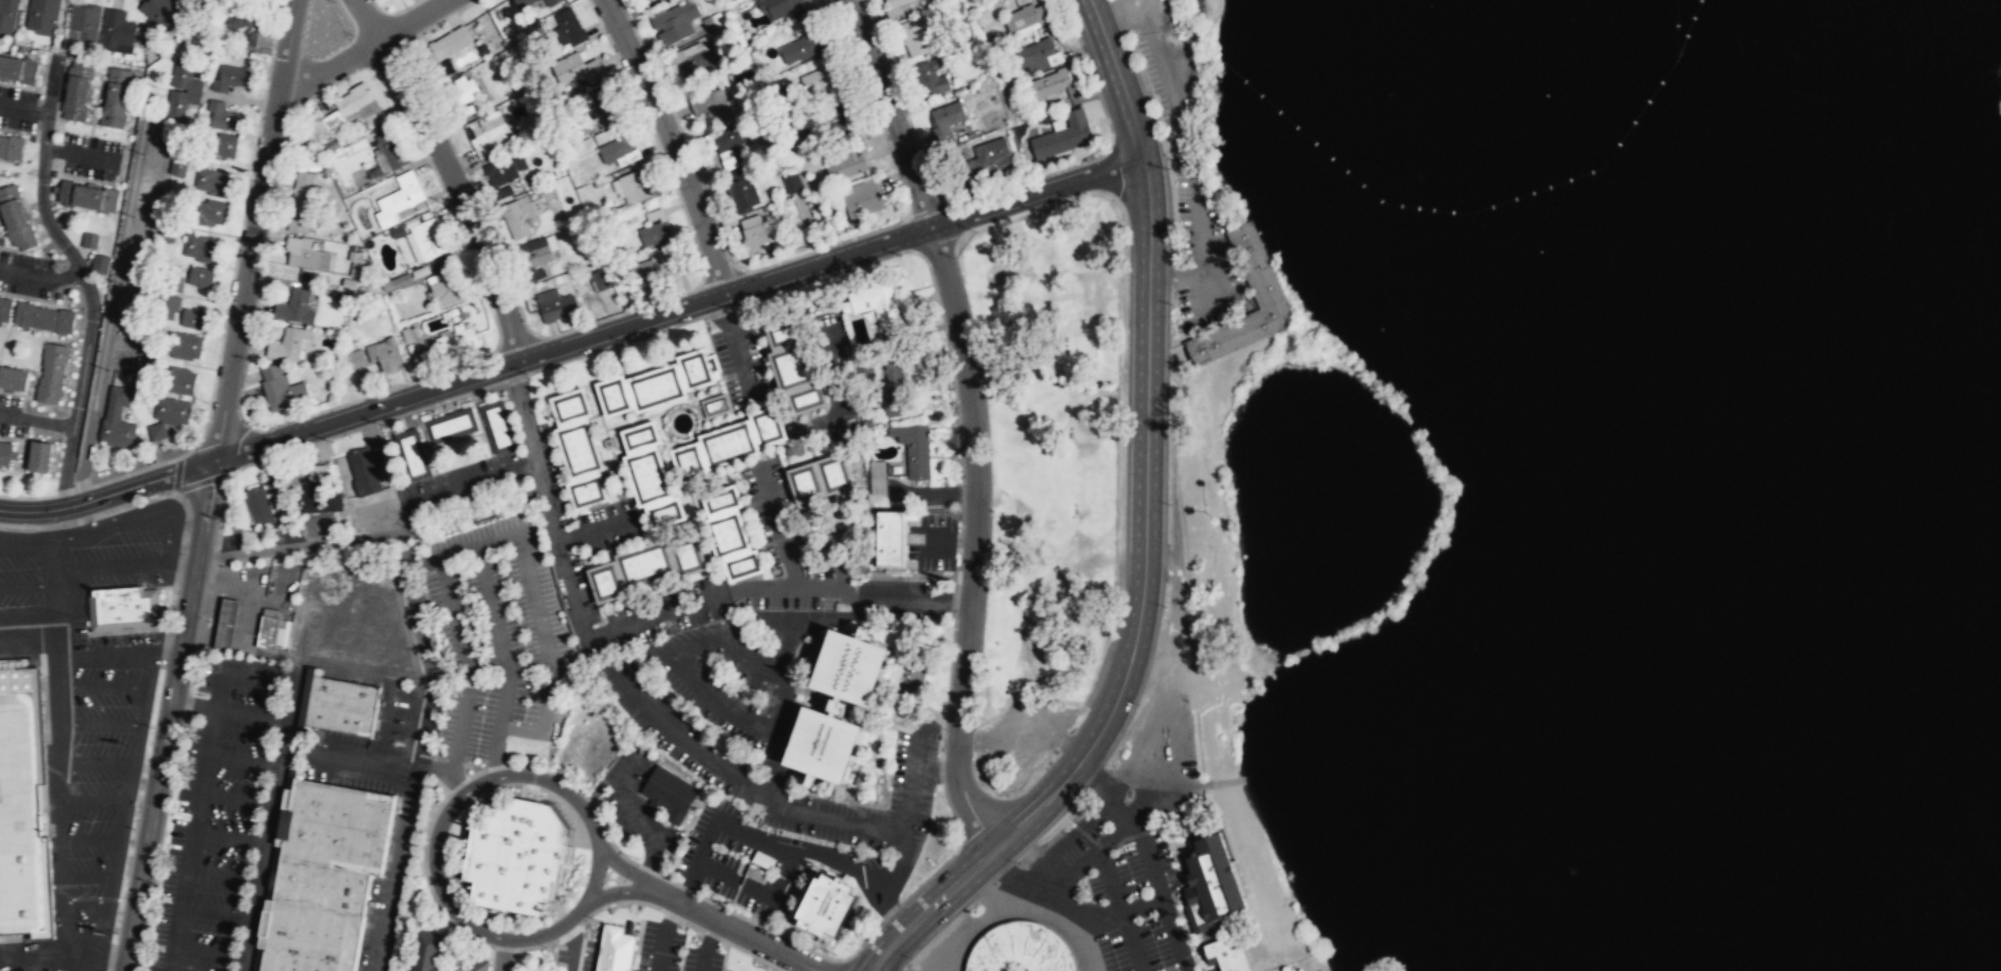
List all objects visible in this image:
building: (639, 0)
building: (551, 2)
building: (526, 3)
building: (778, 7)
building: (893, 7)
building: (161, 12)
road: (1123, 12)
building: (8, 14)
building: (42, 14)
parking lot: (1145, 14)
building: (1024, 16)
building: (83, 20)
building: (676, 21)
building: (242, 24)
building: (571, 26)
building: (117, 31)
street lamp: (354, 34)
building: (916, 35)
building: (450, 42)
building: (802, 46)
road: (363, 47)
building: (1035, 55)
street lamp: (653, 58)
building: (695, 63)
building: (578, 67)
building: (17, 68)
building: (231, 77)
building: (929, 77)
building: (820, 80)
building: (1049, 82)
parking lot: (1172, 83)
building: (77, 89)
building: (182, 90)
building: (463, 93)
building: (116, 96)
road: (1177, 102)
building: (712, 105)
building: (839, 105)
parking lot: (18, 109)
building: (343, 110)
building: (600, 113)
building: (223, 115)
building: (945, 120)
building: (487, 132)
building: (1063, 135)
building: (729, 137)
road: (670, 143)
building: (332, 144)
building: (218, 145)
building: (11, 147)
building: (615, 148)
building: (391, 149)
parking lot: (90, 156)
building: (726, 159)
building: (846, 159)
building: (988, 160)
building: (178, 165)
building: (505, 169)
road: (449, 174)
building: (405, 176)
building: (212, 181)
building: (791, 183)
building: (636, 187)
building: (741, 190)
building: (86, 195)
building: (863, 198)
building: (301, 201)
building: (398, 202)
street lamp: (445, 202)
building: (209, 211)
building: (521, 214)
building: (15, 218)
road: (255, 230)
building: (398, 230)
road: (239, 233)
building: (655, 233)
building: (752, 233)
building: (428, 238)
building: (89, 239)
road: (1203, 247)
building: (201, 248)
parking lot: (1200, 249)
building: (536, 252)
building: (306, 255)
building: (99, 263)
building: (357, 264)
building: (652, 266)
building: (421, 271)
parking lot: (27, 274)
road: (41, 274)
building: (1259, 274)
road: (85, 276)
building: (168, 276)
building: (201, 276)
building: (145, 278)
street lamp: (829, 278)
building: (597, 280)
building: (397, 282)
building: (446, 284)
road: (1214, 287)
building: (141, 297)
building: (879, 304)
building: (167, 305)
building: (556, 305)
building: (295, 307)
building: (5, 308)
road: (679, 308)
road: (112, 310)
street lamp: (733, 310)
building: (43, 317)
building: (193, 318)
building: (784, 333)
building: (457, 341)
street lamp: (631, 342)
building: (183, 344)
building: (286, 345)
building: (146, 347)
building: (424, 350)
building: (386, 353)
building: (355, 358)
building: (143, 366)
building: (789, 368)
building: (696, 369)
building: (50, 373)
street lamp: (532, 374)
building: (13, 378)
building: (177, 381)
building: (657, 387)
building: (896, 387)
building: (281, 389)
building: (614, 396)
building: (805, 398)
road: (521, 399)
building: (571, 406)
building: (715, 406)
building: (172, 410)
parking lot: (11, 415)
building: (117, 418)
road: (973, 418)
road: (37, 420)
building: (450, 424)
building: (768, 426)
building: (498, 427)
building: (157, 431)
building: (641, 436)
park: (1046, 440)
building: (730, 444)
building: (913, 448)
building: (580, 449)
building: (5, 452)
building: (413, 455)
building: (38, 457)
building: (690, 463)
building: (366, 470)
building: (833, 472)
building: (877, 473)
road: (177, 474)
building: (649, 476)
road: (540, 479)
road: (203, 481)
road: (474, 482)
building: (804, 482)
building: (319, 492)
building: (588, 492)
road: (108, 495)
building: (279, 498)
building: (723, 500)
building: (258, 505)
road: (118, 510)
building: (666, 513)
road: (130, 517)
street lamp: (219, 520)
road: (777, 524)
road: (595, 528)
road: (1146, 531)
building: (728, 535)
road: (372, 536)
road: (503, 537)
road: (555, 538)
building: (893, 538)
road: (25, 547)
parking lot: (124, 547)
building: (688, 555)
road: (181, 559)
building: (646, 564)
road: (109, 566)
building: (744, 566)
parking lot: (20, 568)
building: (607, 583)
road: (27, 586)
park: (1202, 592)
road: (851, 593)
road: (278, 603)
building: (123, 609)
road: (669, 609)
road: (785, 619)
building: (226, 624)
building: (273, 629)
parking lot: (111, 638)
road: (460, 639)
road: (691, 641)
parking lot: (494, 644)
road: (256, 652)
road: (744, 653)
road: (139, 657)
road: (238, 668)
road: (782, 670)
road: (409, 676)
street lamp: (191, 679)
road: (100, 690)
road: (718, 701)
road: (305, 703)
road: (188, 704)
building: (343, 705)
building: (832, 706)
road: (169, 715)
road: (246, 715)
road: (386, 718)
road: (97, 725)
street lamp: (152, 727)
road: (57, 730)
road: (671, 731)
parking lot: (1022, 741)
parking lot: (1157, 745)
road: (295, 748)
road: (295, 753)
road: (357, 759)
road: (244, 762)
road: (410, 763)
road: (498, 765)
road: (113, 766)
road: (453, 766)
road: (936, 766)
road: (300, 771)
road: (442, 771)
road: (477, 772)
parking lot: (101, 780)
road: (458, 784)
road: (756, 788)
building: (670, 793)
road: (587, 796)
road: (238, 798)
road: (90, 800)
building: (19, 808)
parking lot: (226, 815)
road: (867, 824)
road: (271, 825)
building: (338, 826)
street lamp: (134, 829)
road: (116, 834)
road: (231, 837)
road: (86, 839)
road: (192, 840)
building: (517, 856)
road: (434, 865)
road: (627, 870)
road: (274, 871)
flagpole: (819, 871)
road: (224, 875)
road: (85, 877)
road: (427, 881)
street lamp: (155, 883)
building: (1210, 885)
building: (322, 886)
road: (622, 891)
road: (84, 902)
building: (831, 902)
road: (217, 913)
road: (671, 915)
road: (587, 917)
road: (690, 924)
road: (103, 928)
road: (737, 931)
street lamp: (116, 933)
road: (710, 934)
building: (311, 939)
road: (440, 944)
road: (503, 948)
building: (617, 949)
building: (1019, 949)
building: (424, 951)
road: (31, 952)
road: (95, 952)
road: (210, 952)
building: (1227, 953)
road: (752, 954)
road: (504, 955)
road: (724, 956)
road: (492, 959)
road: (75, 960)
road: (34, 961)
building: (474, 964)
parking lot: (40, 967)
road: (438, 970)

